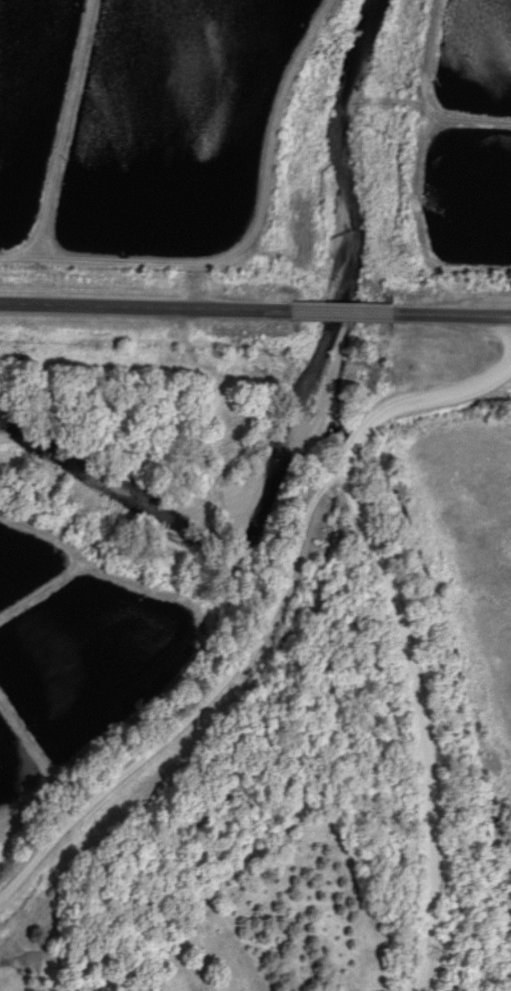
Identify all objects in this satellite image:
road: (255, 309)
road: (364, 425)
road: (190, 700)
road: (442, 777)

